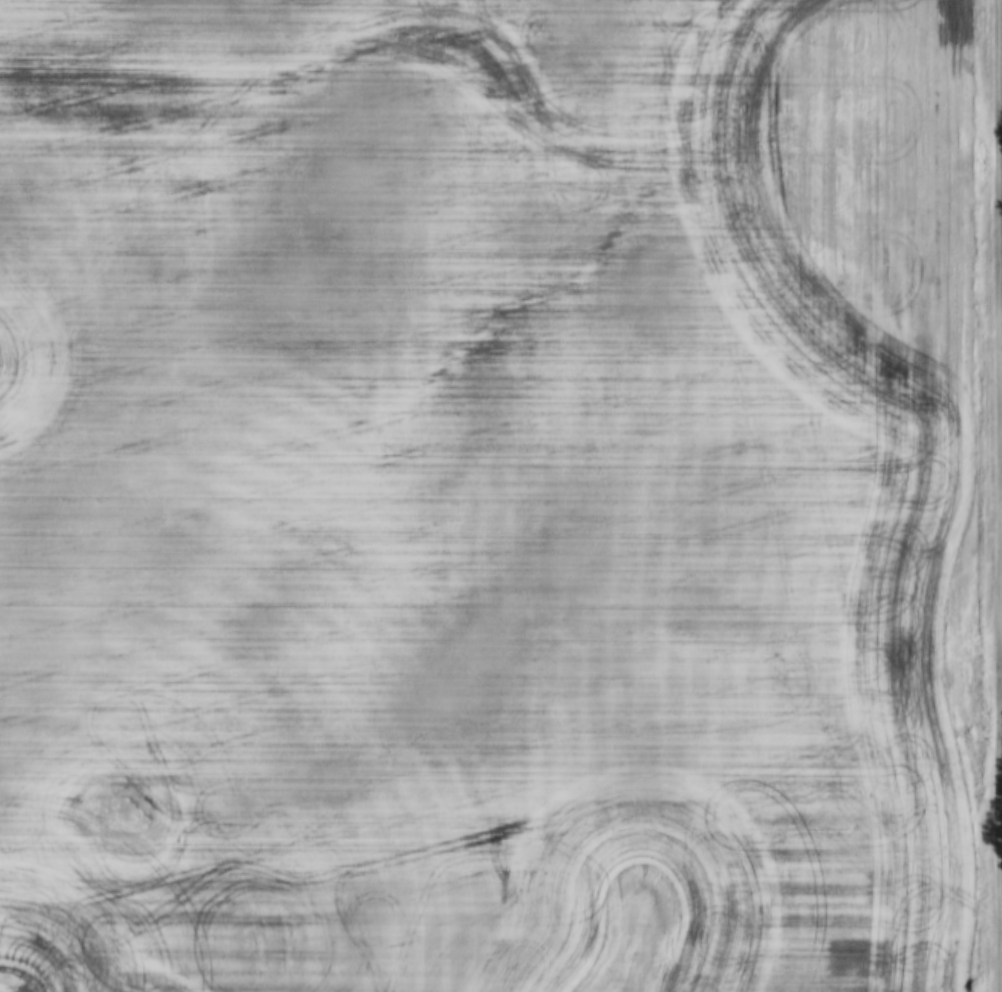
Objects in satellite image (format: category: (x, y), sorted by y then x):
road: (1001, 44)
road: (1001, 388)
road: (1001, 900)

